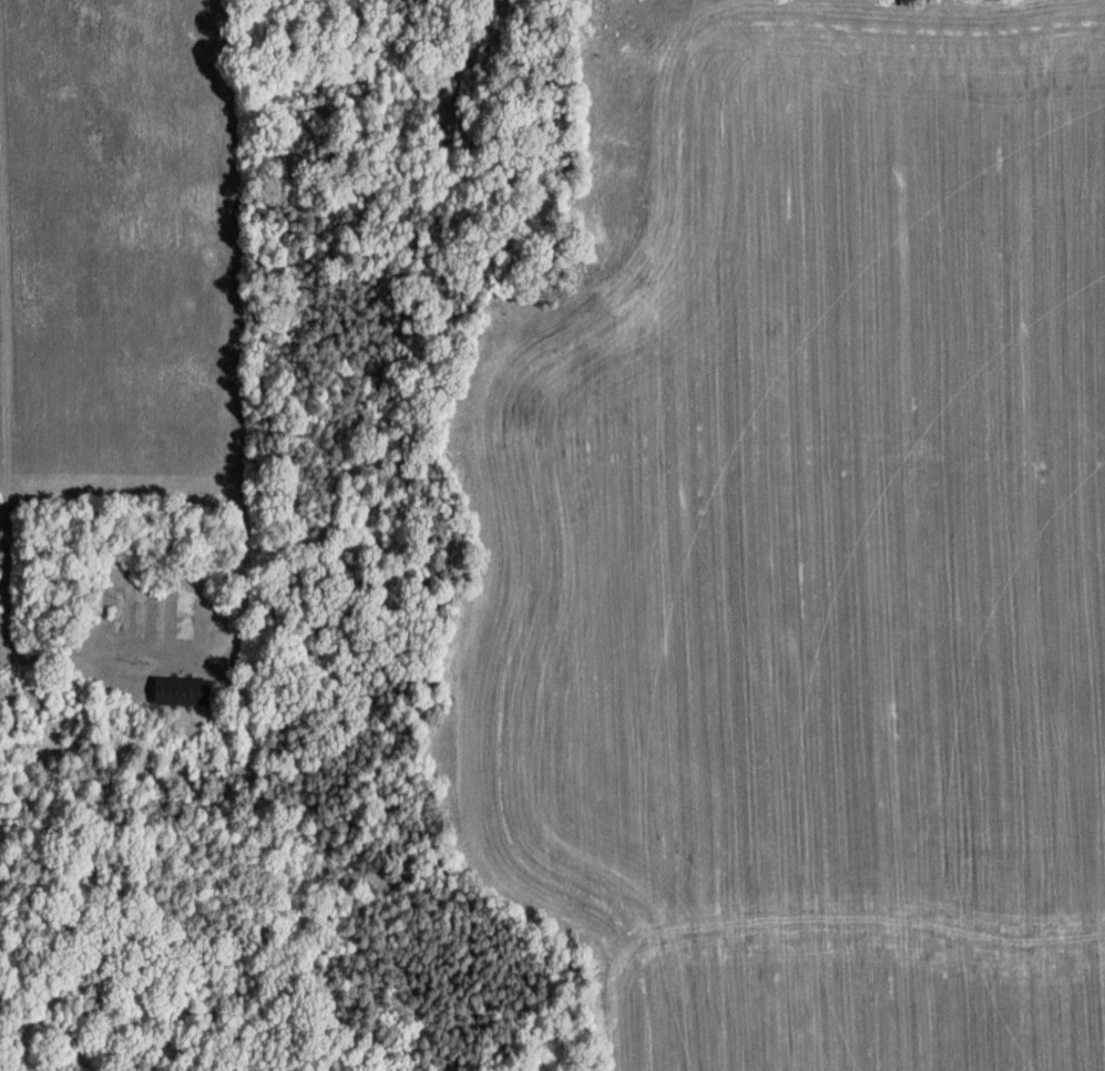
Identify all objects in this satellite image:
road: (50, 655)
building: (176, 692)

